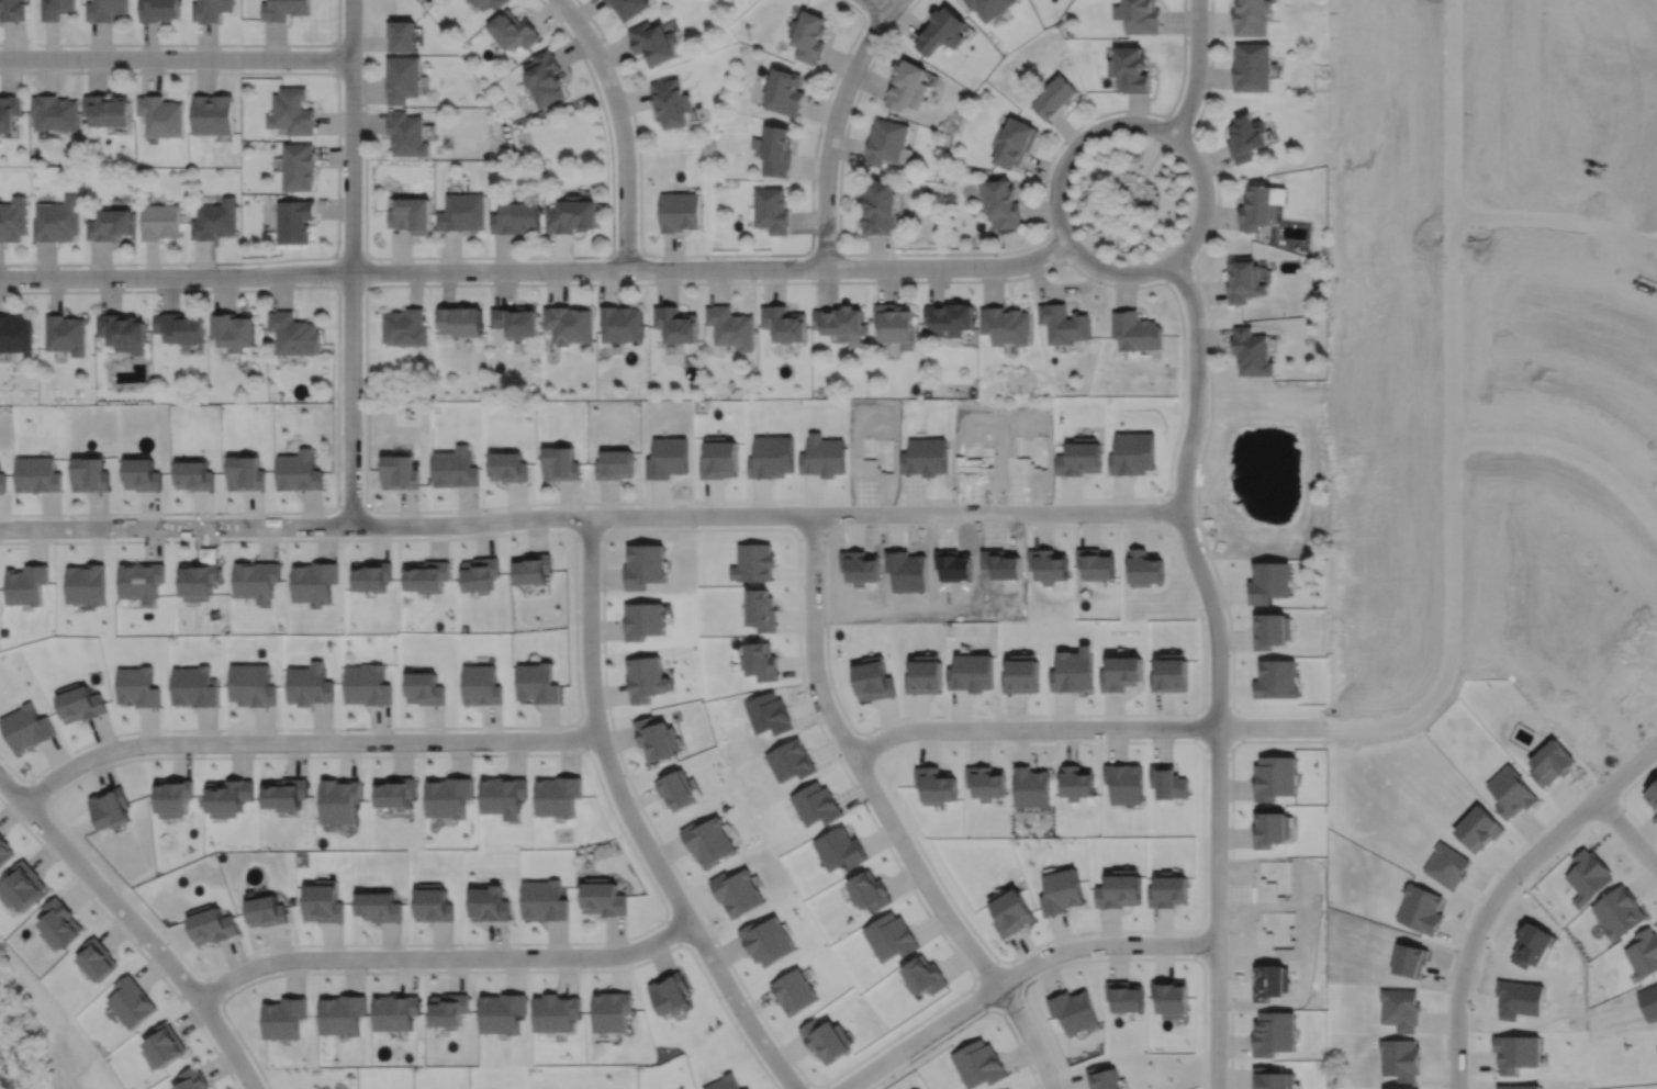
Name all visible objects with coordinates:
building: (489, 3)
building: (629, 7)
road: (876, 7)
building: (989, 7)
building: (56, 9)
building: (211, 9)
building: (286, 9)
building: (13, 10)
building: (107, 10)
building: (159, 10)
road: (871, 10)
building: (1140, 15)
building: (1250, 18)
building: (514, 30)
building: (943, 31)
building: (402, 35)
building: (809, 35)
building: (653, 43)
road: (190, 44)
road: (176, 57)
road: (337, 57)
building: (1251, 67)
building: (1132, 69)
road: (1196, 69)
building: (545, 77)
building: (403, 78)
building: (908, 86)
building: (785, 92)
building: (1055, 97)
building: (672, 102)
building: (108, 110)
building: (292, 111)
building: (10, 112)
building: (55, 112)
building: (213, 114)
building: (161, 115)
road: (1177, 124)
road: (832, 125)
road: (622, 126)
building: (407, 134)
building: (1245, 137)
road: (1082, 138)
building: (1014, 142)
building: (887, 143)
building: (775, 150)
road: (337, 164)
building: (299, 166)
road: (1138, 181)
park: (1129, 197)
road: (1129, 197)
road: (1130, 197)
building: (1000, 204)
building: (772, 210)
building: (880, 210)
building: (1257, 210)
building: (462, 212)
building: (681, 212)
building: (412, 215)
building: (215, 216)
building: (573, 217)
building: (13, 218)
building: (159, 218)
building: (518, 218)
building: (57, 220)
building: (295, 222)
road: (1555, 222)
building: (110, 225)
road: (1056, 246)
road: (976, 251)
road: (825, 252)
road: (626, 254)
road: (724, 254)
road: (495, 255)
road: (363, 256)
road: (350, 261)
road: (536, 269)
road: (1177, 271)
road: (1196, 274)
building: (1244, 281)
road: (570, 282)
building: (950, 315)
building: (459, 317)
building: (515, 318)
building: (839, 319)
building: (619, 321)
building: (782, 321)
building: (1063, 321)
building: (568, 322)
building: (674, 322)
building: (895, 322)
building: (1005, 323)
building: (180, 325)
building: (404, 325)
building: (730, 325)
building: (234, 327)
building: (1135, 328)
building: (123, 329)
building: (15, 330)
building: (66, 332)
building: (293, 332)
building: (1252, 353)
road: (337, 395)
road: (1452, 407)
building: (1132, 453)
road: (1569, 456)
building: (667, 457)
building: (1079, 457)
building: (559, 461)
building: (615, 462)
building: (506, 464)
building: (454, 465)
building: (299, 469)
building: (398, 470)
building: (246, 471)
building: (141, 472)
building: (36, 473)
building: (89, 473)
building: (193, 473)
building: (1, 480)
road: (350, 504)
road: (591, 515)
road: (587, 535)
building: (642, 564)
building: (533, 568)
building: (480, 573)
building: (372, 574)
building: (427, 575)
building: (199, 579)
building: (257, 579)
building: (142, 580)
building: (315, 580)
building: (25, 583)
building: (86, 583)
building: (642, 619)
road: (575, 639)
road: (1217, 667)
building: (1121, 671)
building: (1171, 673)
building: (645, 678)
building: (538, 682)
building: (251, 684)
building: (309, 684)
building: (367, 684)
building: (481, 684)
building: (136, 686)
building: (193, 686)
building: (424, 686)
building: (79, 703)
building: (25, 727)
road: (1086, 727)
road: (581, 734)
building: (656, 738)
road: (303, 741)
road: (1231, 750)
building: (1550, 762)
road: (1626, 770)
building: (1276, 777)
road: (38, 789)
building: (675, 790)
building: (1511, 792)
building: (395, 793)
building: (284, 794)
building: (503, 796)
building: (558, 796)
building: (172, 797)
building: (228, 797)
building: (449, 797)
building: (338, 800)
building: (109, 808)
road: (886, 817)
road: (634, 821)
building: (1270, 828)
building: (1478, 828)
road: (652, 829)
road: (1626, 831)
building: (707, 841)
building: (839, 847)
building: (4, 850)
building: (22, 887)
building: (1120, 890)
building: (1168, 890)
building: (867, 891)
building: (736, 892)
building: (1061, 892)
building: (603, 898)
building: (544, 900)
building: (322, 901)
building: (432, 903)
building: (488, 905)
building: (379, 906)
road: (665, 908)
building: (1419, 908)
building: (265, 911)
building: (1011, 911)
road: (1480, 921)
building: (59, 924)
road: (136, 925)
building: (210, 925)
road: (671, 930)
road: (127, 936)
building: (765, 942)
building: (1643, 953)
road: (443, 955)
building: (97, 961)
road: (488, 969)
road: (1015, 974)
road: (215, 987)
building: (671, 990)
building: (792, 992)
building: (1124, 996)
building: (1169, 996)
building: (132, 1003)
building: (450, 1007)
building: (613, 1008)
building: (396, 1009)
building: (558, 1009)
building: (1073, 1009)
building: (343, 1010)
building: (504, 1010)
building: (283, 1014)
road: (967, 1022)
building: (825, 1042)
building: (164, 1046)
building: (1656, 1048)
road: (1202, 1055)
building: (978, 1060)
road: (1063, 1077)
building: (1102, 1077)
building: (193, 1078)
building: (726, 1081)
road: (800, 1084)
road: (826, 1086)

